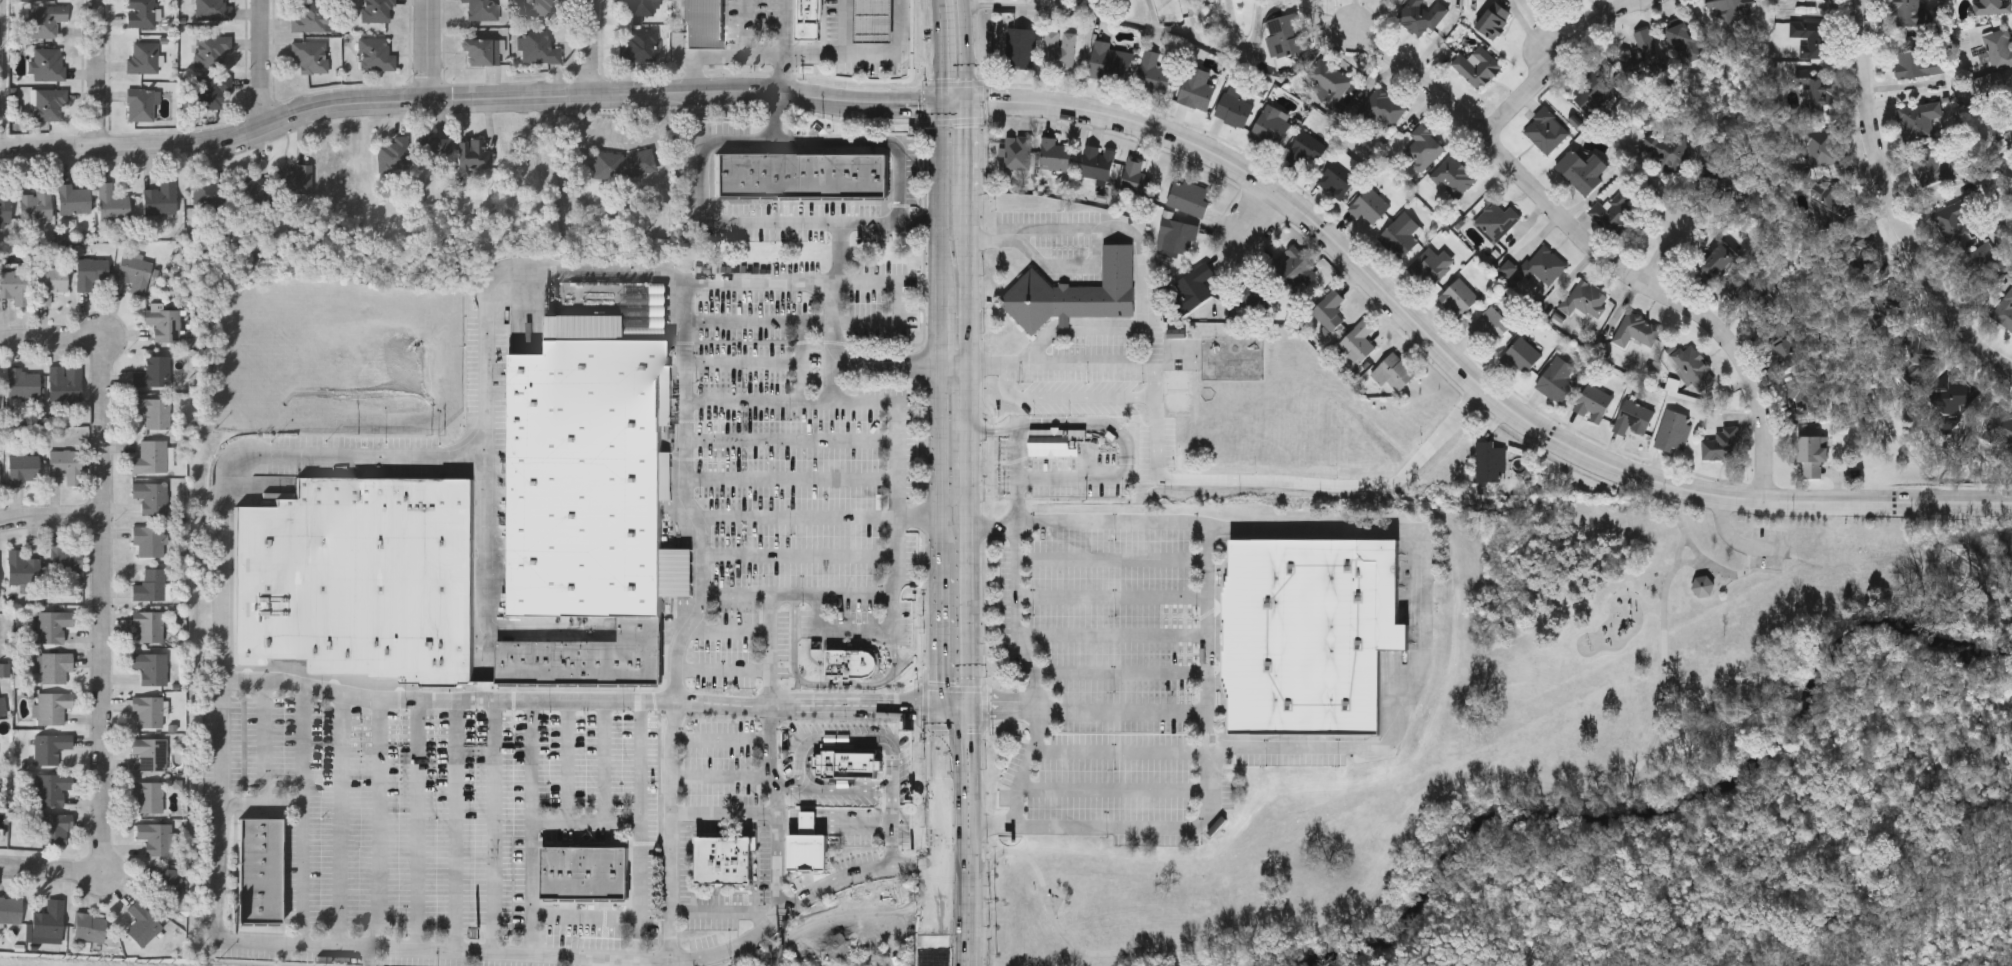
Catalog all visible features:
building: (1990, 6)
building: (538, 7)
building: (640, 7)
building: (1724, 7)
building: (212, 9)
building: (481, 9)
building: (375, 10)
building: (1904, 11)
building: (140, 13)
building: (310, 15)
building: (1419, 15)
building: (810, 18)
building: (1493, 19)
building: (44, 20)
building: (874, 21)
road: (1131, 21)
building: (705, 25)
road: (845, 25)
road: (1543, 29)
road: (1531, 33)
building: (1285, 34)
building: (1811, 36)
building: (1684, 41)
building: (639, 45)
road: (746, 45)
building: (537, 47)
building: (1020, 47)
road: (593, 48)
road: (783, 48)
building: (1998, 48)
building: (211, 49)
road: (963, 50)
building: (1059, 50)
building: (1648, 50)
road: (430, 51)
building: (480, 51)
road: (899, 51)
road: (942, 51)
road: (814, 52)
building: (374, 54)
road: (700, 54)
building: (310, 56)
building: (144, 57)
road: (1558, 61)
building: (1110, 62)
building: (1917, 62)
building: (48, 64)
road: (266, 65)
building: (1477, 65)
building: (1152, 73)
road: (99, 76)
road: (4, 78)
building: (1996, 79)
building: (1326, 80)
building: (1196, 88)
building: (212, 90)
building: (1817, 92)
building: (1592, 93)
building: (2010, 97)
road: (468, 100)
road: (955, 102)
traffic signals: (966, 102)
traffic signals: (944, 103)
building: (47, 104)
building: (139, 105)
building: (1233, 107)
building: (1382, 107)
road: (775, 119)
building: (1917, 119)
building: (1270, 126)
building: (1545, 128)
building: (2009, 137)
road: (624, 139)
building: (435, 142)
road: (859, 142)
building: (1422, 146)
building: (1822, 148)
building: (1305, 149)
building: (474, 150)
building: (393, 152)
building: (1017, 152)
building: (1668, 152)
road: (967, 153)
building: (1055, 154)
building: (1097, 162)
building: (623, 165)
building: (1931, 165)
building: (1582, 169)
building: (1340, 174)
building: (293, 176)
building: (803, 176)
building: (1452, 176)
building: (1136, 177)
building: (1720, 178)
building: (254, 185)
building: (210, 193)
building: (161, 196)
building: (1187, 196)
building: (74, 197)
building: (1835, 198)
building: (112, 201)
building: (35, 204)
road: (1893, 204)
building: (1369, 205)
building: (5, 206)
building: (1613, 211)
road: (1258, 212)
building: (1956, 218)
building: (1495, 219)
road: (718, 224)
building: (1400, 233)
building: (1177, 235)
road: (1672, 237)
building: (196, 244)
road: (1599, 252)
building: (1717, 260)
building: (1983, 262)
building: (1292, 264)
building: (1541, 264)
road: (1068, 265)
building: (1433, 265)
building: (1509, 268)
building: (91, 271)
building: (135, 271)
building: (50, 281)
road: (758, 283)
road: (968, 283)
building: (15, 284)
road: (1142, 285)
building: (1197, 285)
building: (1075, 291)
building: (1746, 291)
building: (1252, 292)
building: (1458, 296)
building: (1585, 299)
building: (1880, 305)
building: (1329, 309)
building: (2004, 309)
building: (164, 321)
building: (1489, 323)
building: (1635, 329)
building: (1176, 333)
road: (52, 337)
building: (1357, 343)
building: (1783, 348)
building: (1913, 348)
building: (1521, 355)
road: (1106, 359)
road: (887, 363)
road: (954, 363)
building: (1694, 366)
road: (1462, 368)
road: (808, 369)
building: (154, 371)
building: (1393, 372)
building: (1555, 379)
building: (23, 381)
building: (65, 382)
road: (833, 389)
road: (820, 390)
building: (1954, 393)
road: (1068, 397)
building: (1802, 400)
building: (1592, 402)
building: (153, 409)
road: (968, 416)
building: (1632, 417)
road: (1094, 424)
building: (2003, 424)
building: (1672, 430)
road: (791, 431)
building: (1055, 441)
building: (1718, 443)
building: (1813, 454)
building: (153, 455)
road: (280, 456)
building: (1488, 460)
building: (66, 463)
building: (23, 466)
road: (791, 470)
building: (591, 475)
building: (0, 479)
road: (1067, 481)
road: (1303, 482)
building: (151, 495)
road: (53, 515)
road: (797, 516)
road: (919, 516)
road: (940, 534)
building: (148, 537)
road: (1732, 538)
road: (1017, 546)
road: (1694, 550)
parking lot: (1765, 550)
road: (800, 553)
building: (66, 557)
road: (1112, 562)
building: (23, 566)
road: (1713, 567)
building: (361, 578)
road: (486, 578)
road: (970, 583)
building: (152, 584)
building: (1703, 585)
road: (1427, 593)
road: (799, 595)
road: (107, 597)
road: (1112, 597)
building: (53, 624)
building: (149, 625)
building: (640, 629)
road: (857, 631)
road: (728, 632)
road: (1114, 633)
building: (1311, 635)
road: (771, 653)
building: (579, 663)
building: (851, 663)
building: (150, 665)
building: (55, 666)
road: (724, 668)
road: (1122, 676)
road: (827, 684)
parking lot: (1117, 691)
parking lot: (634, 698)
traffic signals: (973, 698)
road: (1010, 698)
road: (824, 699)
traffic signals: (939, 699)
road: (450, 700)
building: (52, 706)
building: (3, 707)
building: (148, 708)
road: (1124, 710)
road: (859, 713)
traffic signals: (937, 714)
traffic signals: (973, 714)
road: (722, 740)
road: (854, 740)
building: (50, 746)
building: (151, 750)
road: (975, 753)
road: (568, 761)
road: (605, 761)
building: (848, 765)
road: (807, 766)
road: (1026, 767)
road: (721, 775)
road: (1211, 785)
building: (52, 787)
road: (788, 790)
road: (847, 790)
road: (1114, 791)
building: (148, 794)
road: (264, 801)
road: (725, 812)
road: (779, 813)
road: (305, 816)
road: (340, 820)
road: (586, 821)
building: (809, 823)
road: (382, 824)
road: (417, 825)
road: (455, 826)
building: (55, 827)
road: (492, 827)
road: (531, 827)
road: (1408, 834)
building: (155, 836)
road: (892, 836)
building: (809, 853)
road: (642, 860)
building: (726, 861)
building: (260, 868)
road: (58, 870)
building: (586, 874)
building: (164, 881)
road: (979, 886)
building: (10, 907)
road: (957, 909)
road: (725, 910)
building: (49, 917)
building: (142, 922)
building: (90, 926)

